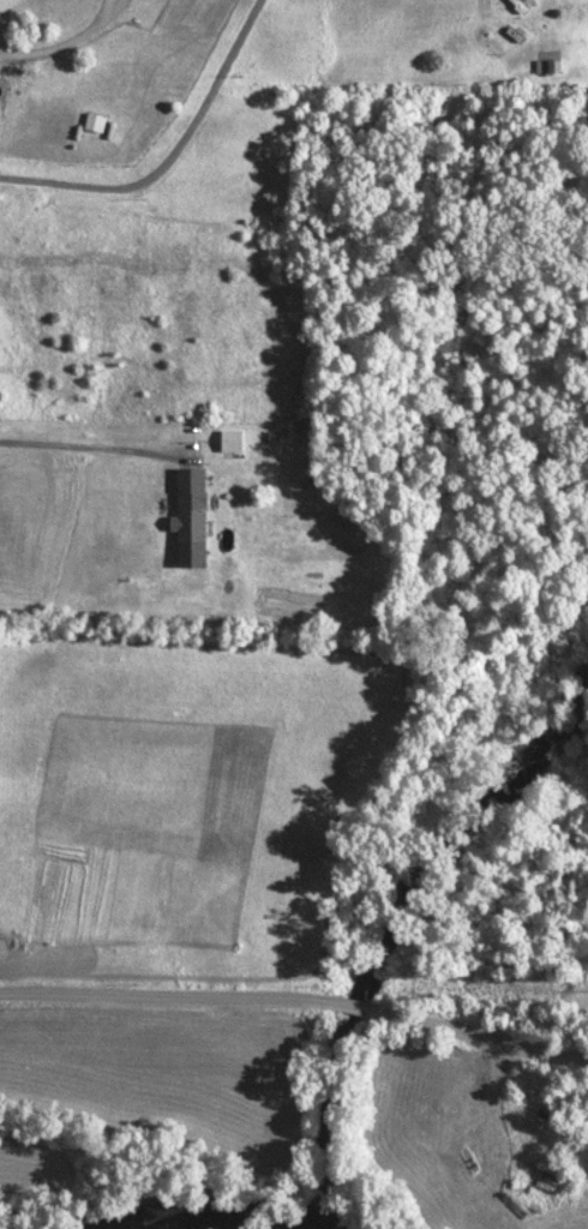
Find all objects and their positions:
building: (232, 443)
building: (191, 520)
river: (395, 916)
road: (164, 999)
road: (362, 1008)
road: (491, 1038)
river: (179, 1212)

